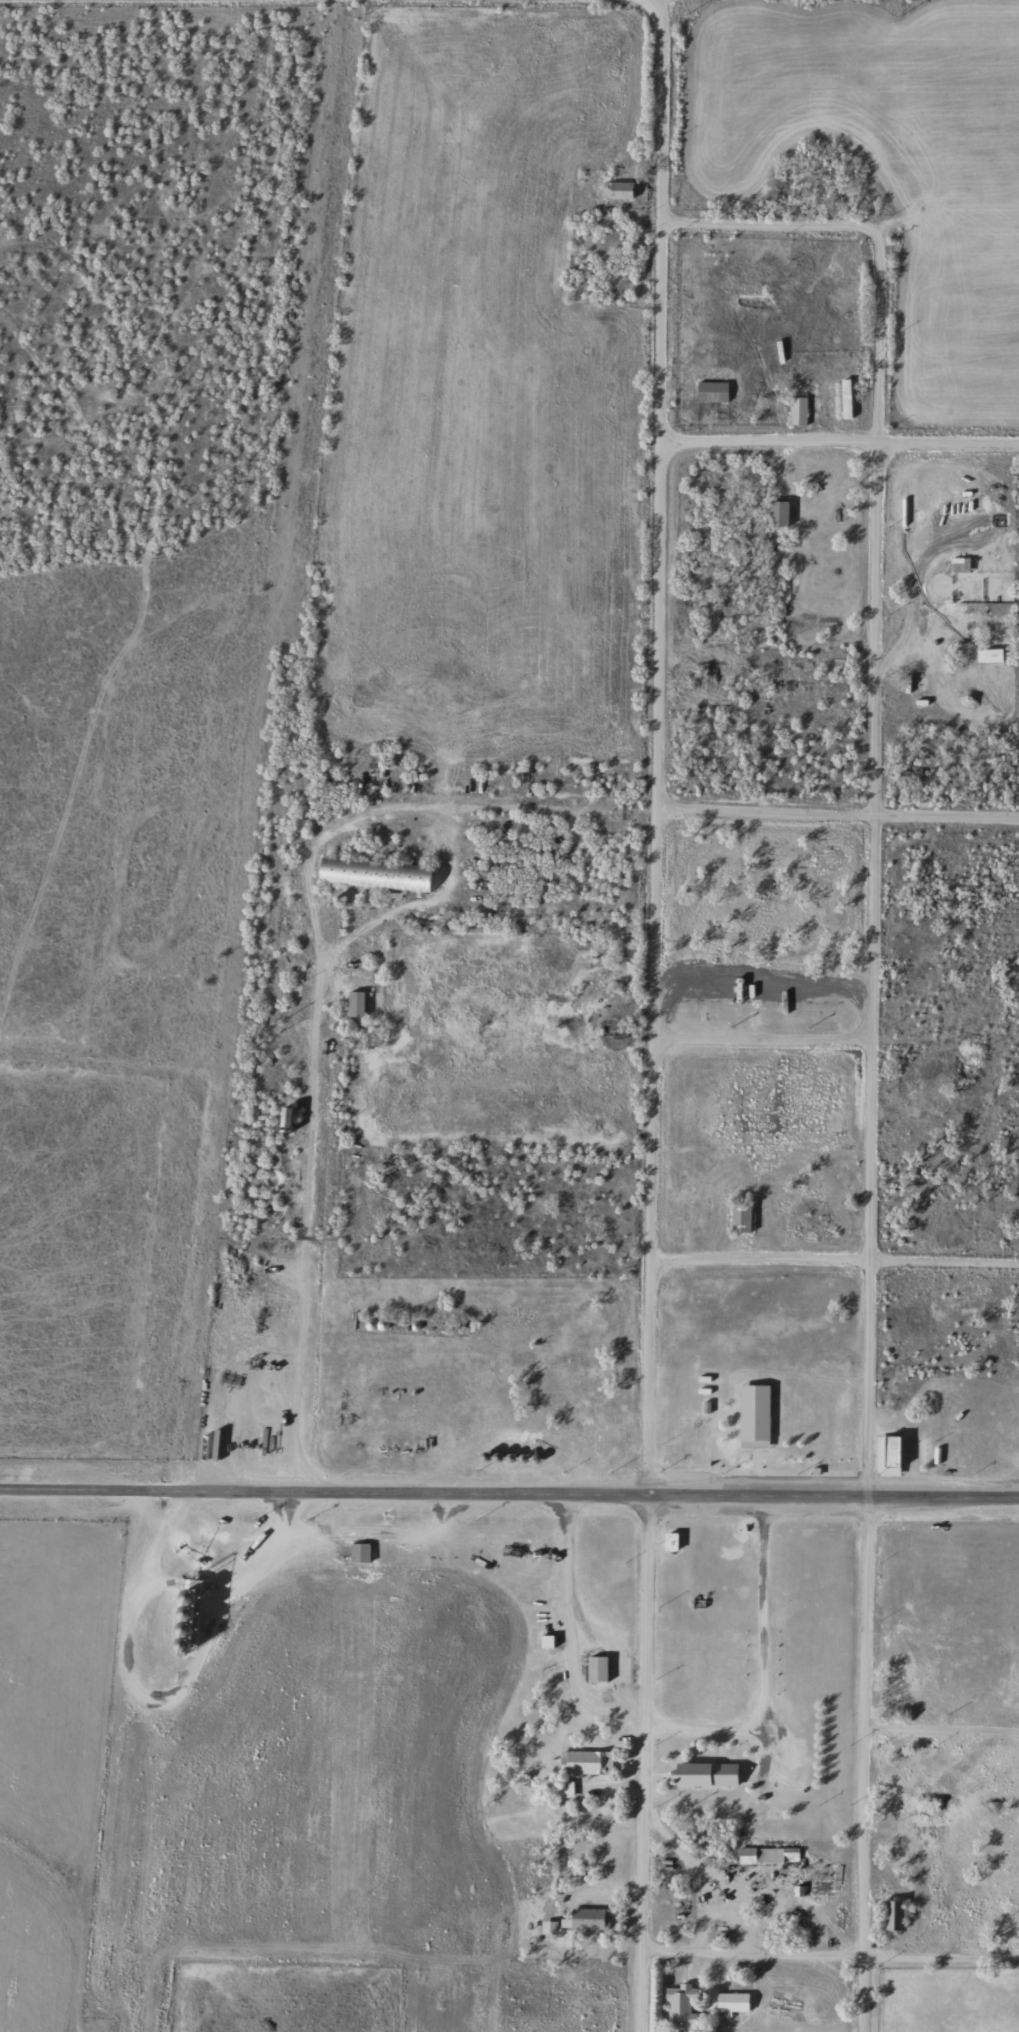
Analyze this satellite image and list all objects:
road: (645, 3)
road: (654, 3)
building: (613, 190)
building: (708, 392)
building: (835, 402)
building: (795, 411)
road: (840, 442)
building: (774, 514)
building: (956, 565)
building: (985, 655)
building: (955, 692)
road: (656, 748)
road: (872, 770)
road: (837, 818)
building: (370, 874)
building: (351, 1004)
railway: (211, 1013)
road: (758, 1041)
building: (908, 1087)
building: (282, 1127)
building: (288, 1155)
building: (737, 1218)
road: (834, 1260)
building: (255, 1292)
building: (750, 1416)
building: (586, 1452)
building: (887, 1453)
road: (86, 1490)
road: (596, 1493)
building: (666, 1543)
building: (356, 1554)
building: (543, 1642)
road: (760, 1662)
building: (593, 1669)
building: (894, 1686)
road: (940, 1733)
building: (578, 1763)
road: (641, 1763)
road: (860, 1763)
building: (894, 1772)
building: (700, 1775)
building: (764, 1856)
building: (893, 1915)
building: (584, 1920)
road: (828, 1958)
building: (729, 2002)
building: (676, 2005)

